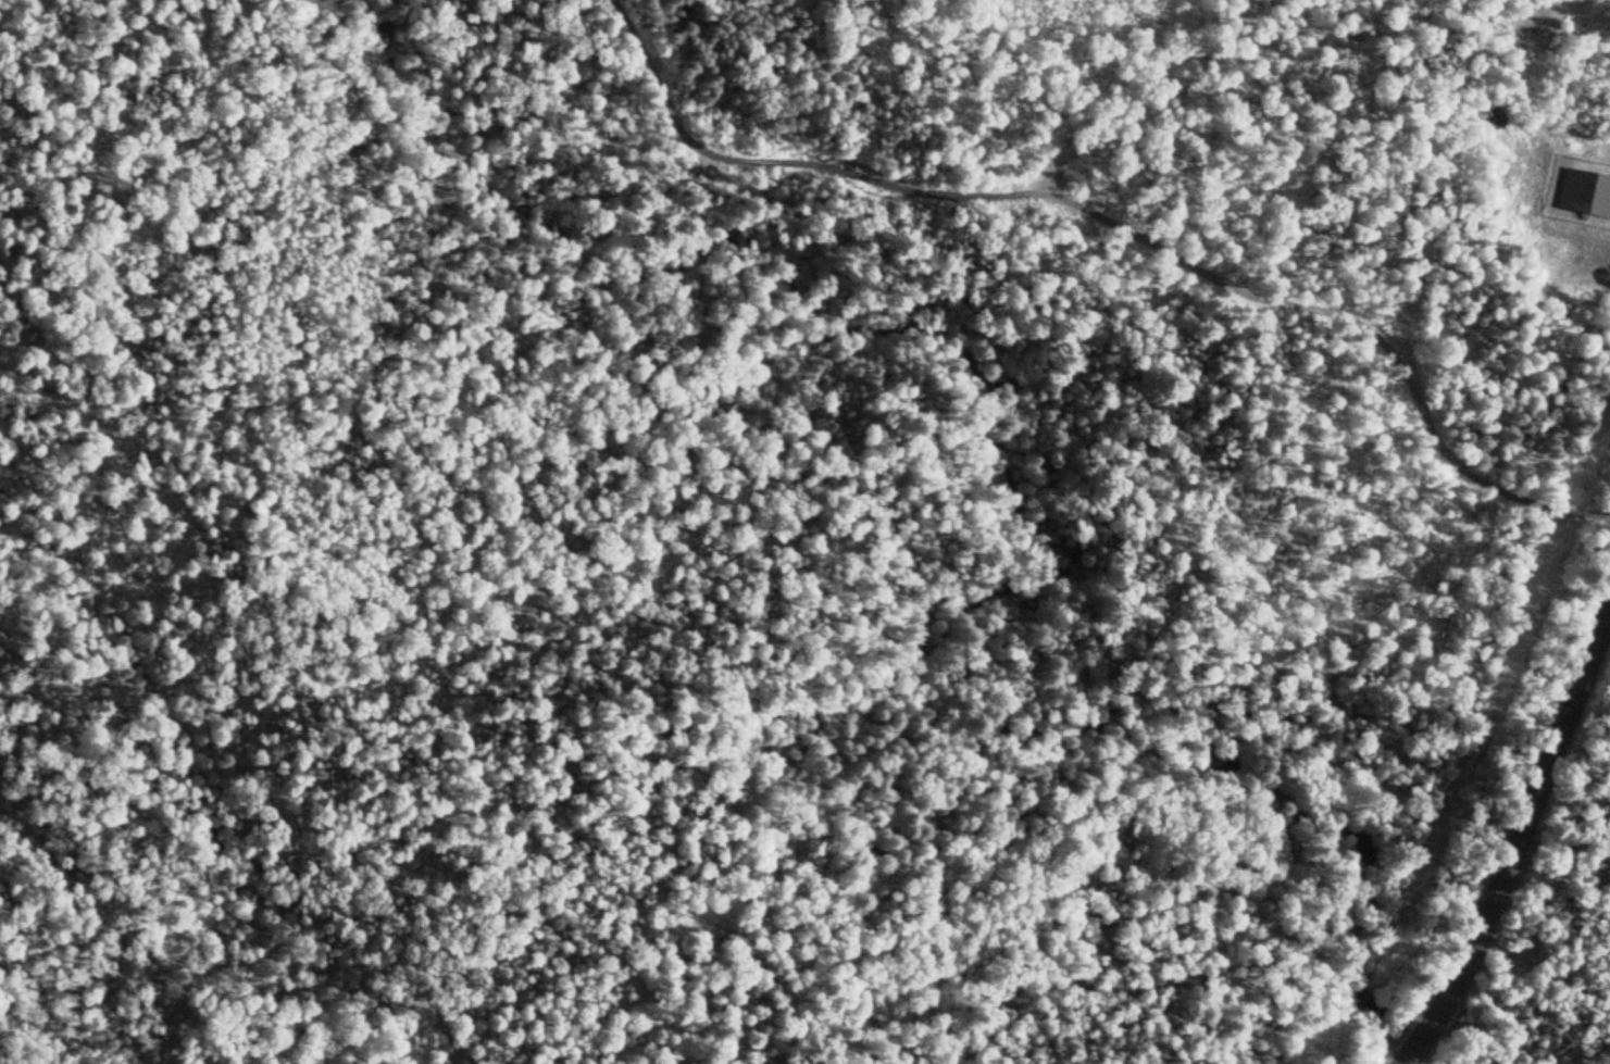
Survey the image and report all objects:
building: (1586, 195)
road: (1123, 221)
road: (1580, 235)
road: (1514, 846)

